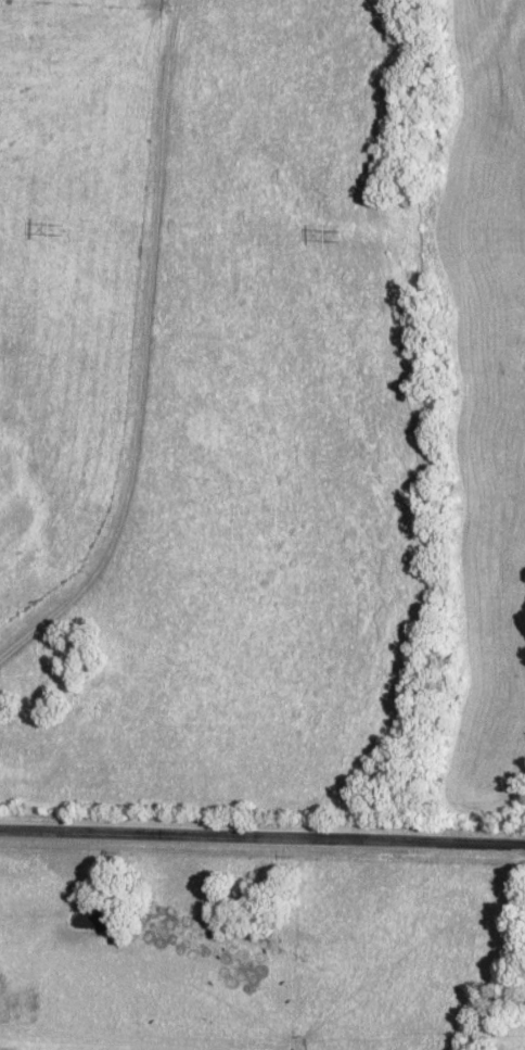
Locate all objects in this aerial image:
road: (161, 153)
power tower: (333, 235)
road: (118, 507)
road: (262, 837)

